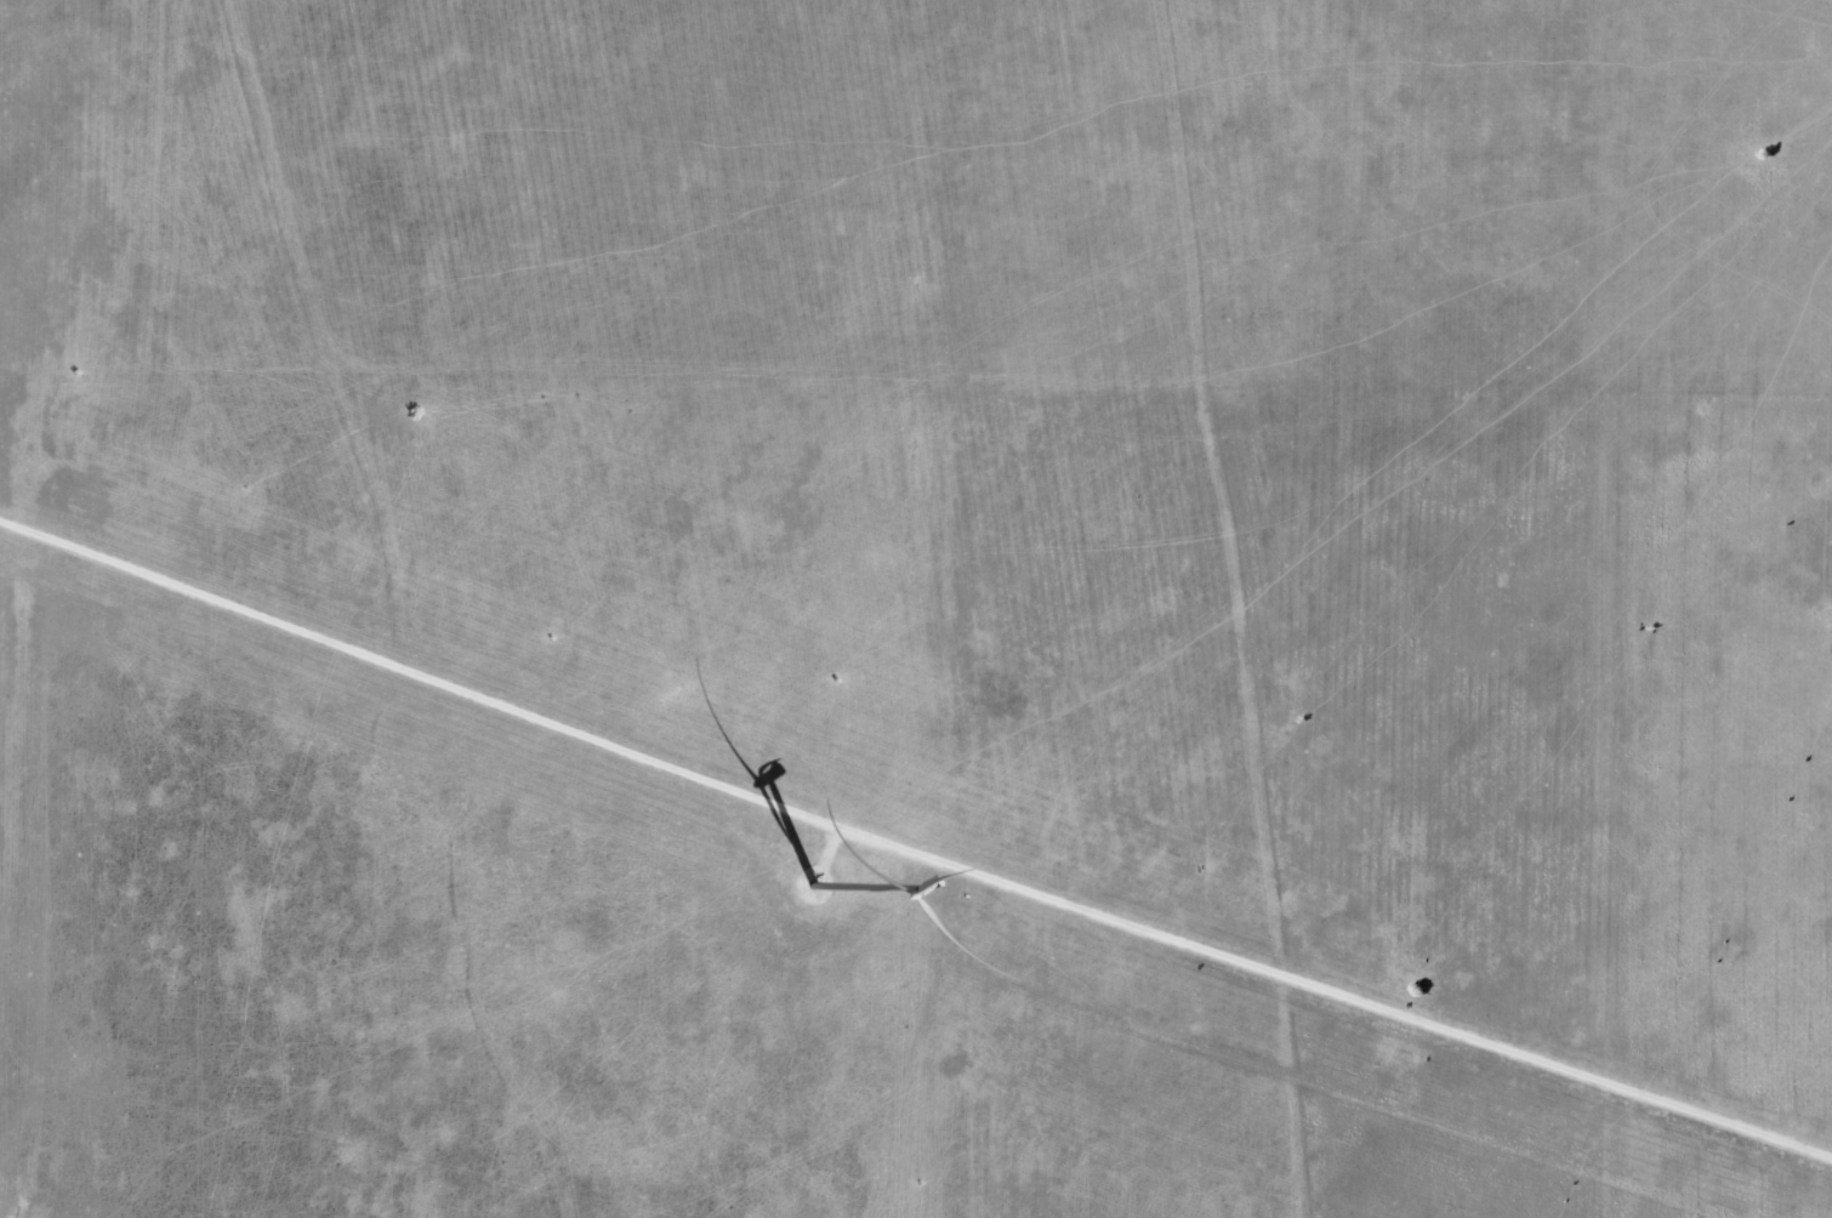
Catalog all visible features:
wind turbine: (812, 893)

